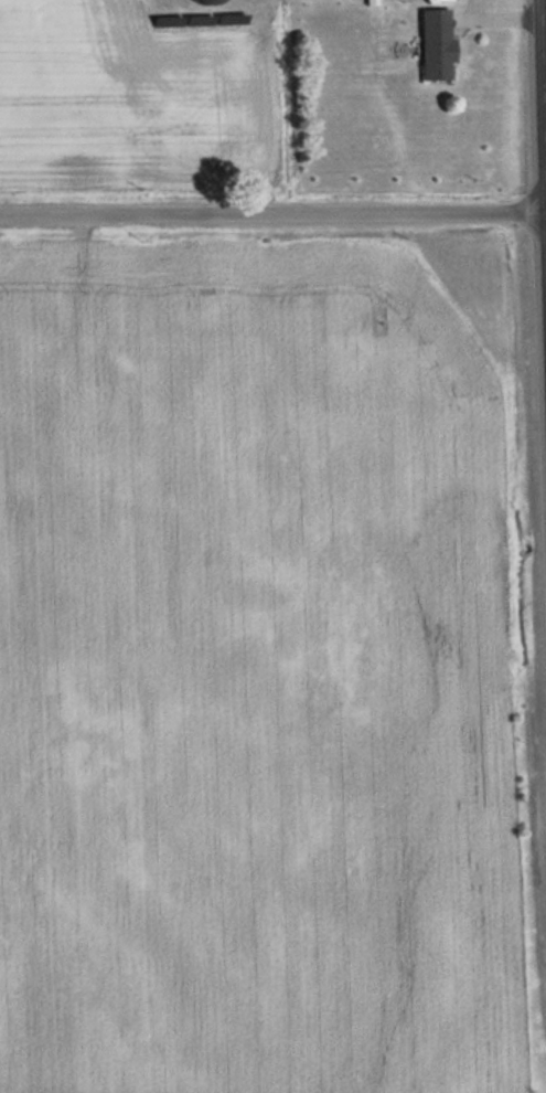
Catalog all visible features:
building: (207, 2)
building: (438, 45)
road: (543, 120)
road: (272, 213)

